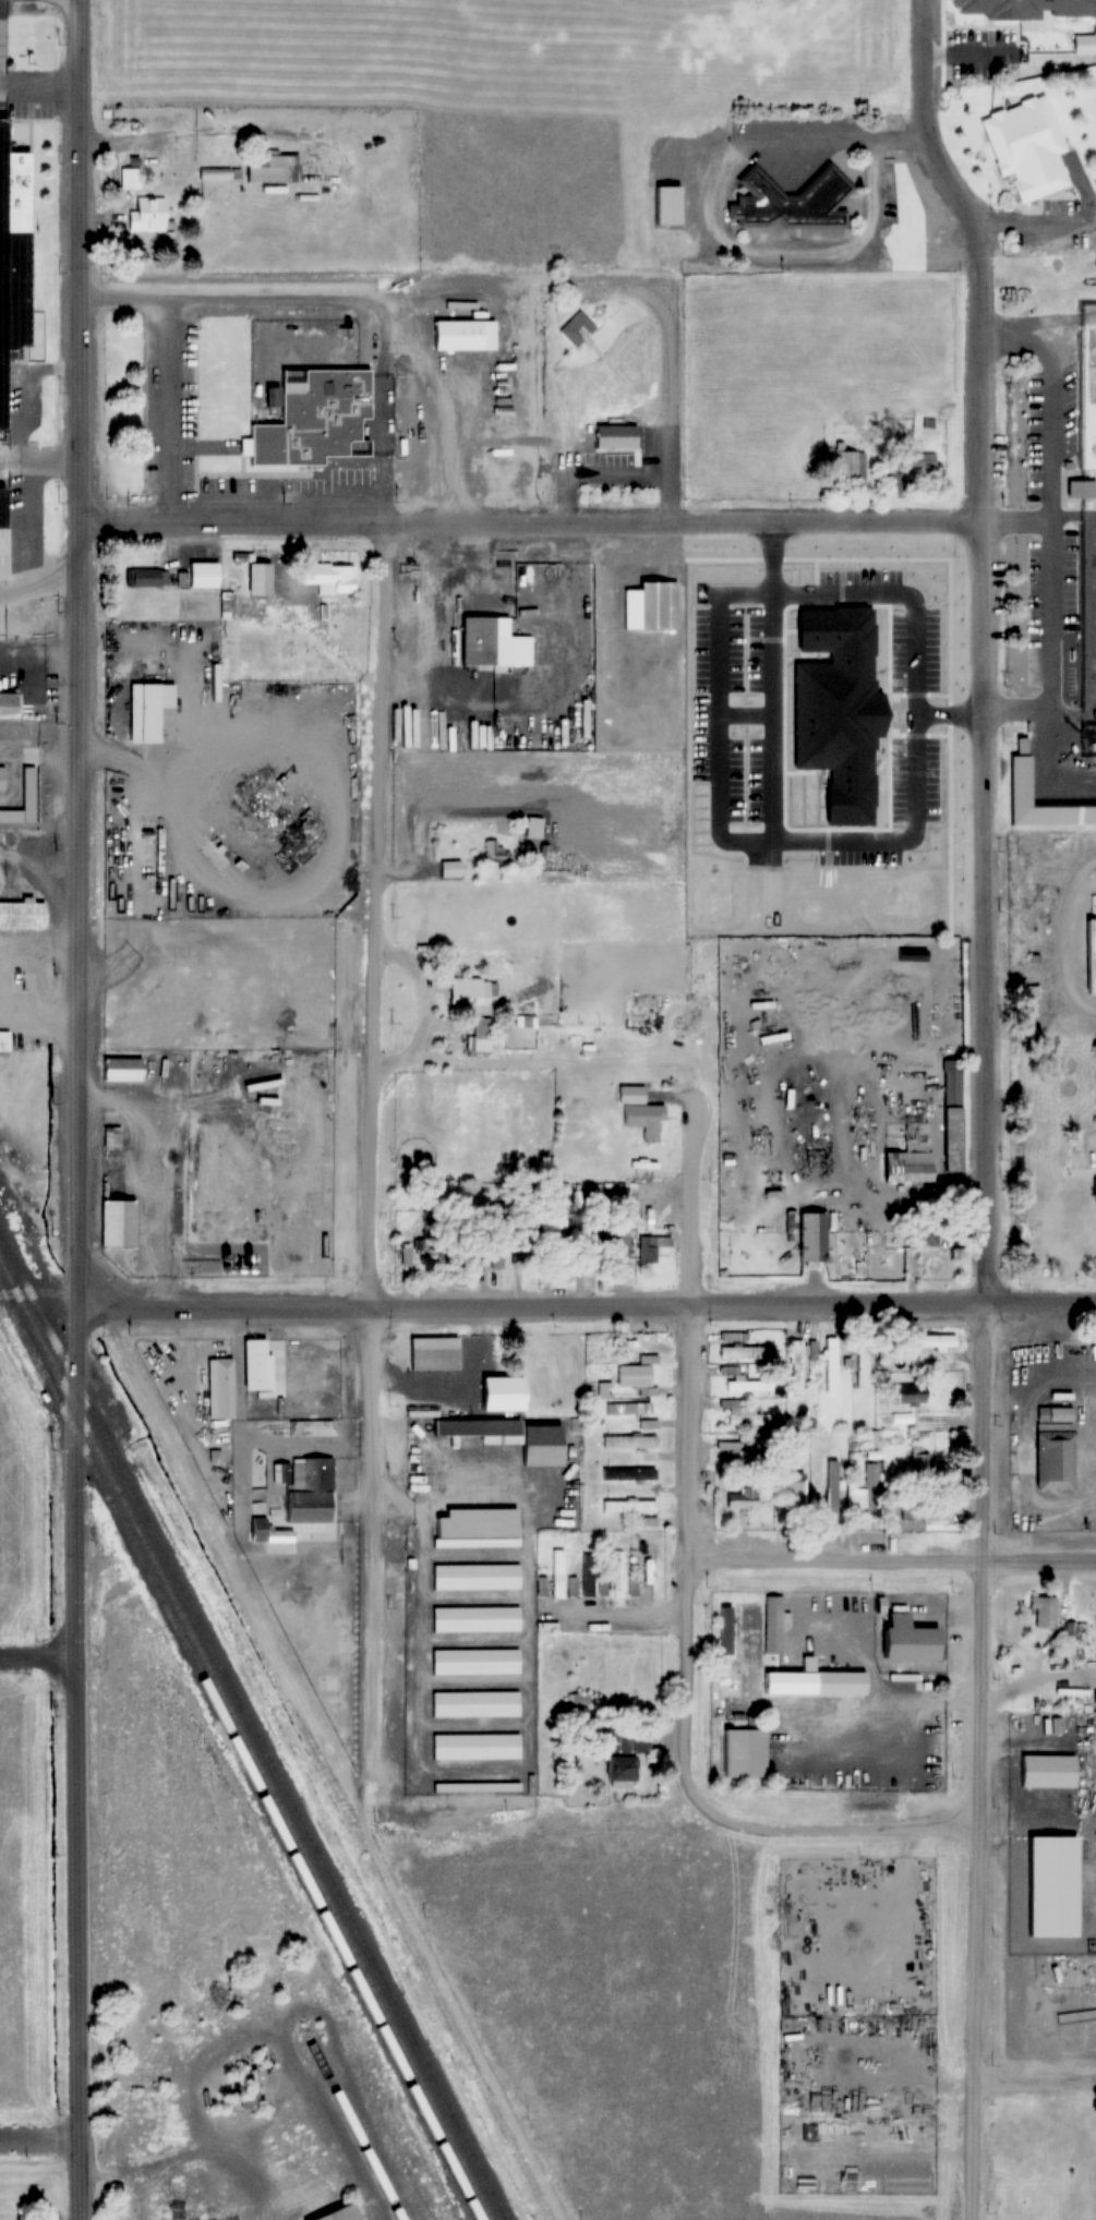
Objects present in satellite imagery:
building: (1084, 45)
building: (125, 114)
road: (929, 133)
building: (1025, 150)
building: (268, 169)
building: (131, 172)
building: (276, 198)
building: (793, 203)
building: (671, 204)
building: (148, 217)
building: (17, 260)
building: (576, 330)
building: (465, 335)
building: (318, 415)
road: (1048, 439)
building: (924, 461)
building: (855, 464)
building: (899, 481)
building: (1081, 490)
road: (528, 522)
building: (2, 529)
building: (201, 574)
building: (138, 576)
building: (260, 577)
building: (329, 577)
building: (652, 606)
building: (493, 642)
road: (1050, 654)
building: (9, 704)
building: (148, 713)
building: (2, 777)
building: (1016, 781)
building: (31, 792)
building: (10, 815)
building: (494, 853)
building: (450, 869)
building: (23, 915)
building: (1089, 957)
building: (471, 992)
building: (481, 1034)
building: (4, 1040)
building: (123, 1069)
road: (365, 1108)
road: (77, 1110)
building: (640, 1112)
building: (954, 1115)
building: (913, 1154)
building: (655, 1210)
building: (119, 1224)
building: (431, 1232)
building: (462, 1235)
building: (815, 1238)
building: (928, 1238)
road: (985, 1239)
building: (593, 1244)
building: (651, 1248)
building: (521, 1251)
building: (494, 1255)
building: (567, 1259)
road: (547, 1298)
building: (624, 1343)
building: (831, 1346)
building: (815, 1349)
building: (745, 1351)
building: (433, 1352)
building: (486, 1355)
building: (1053, 1361)
building: (796, 1364)
building: (862, 1364)
building: (256, 1365)
building: (638, 1373)
building: (743, 1382)
building: (220, 1386)
building: (505, 1393)
building: (912, 1393)
building: (628, 1409)
building: (744, 1414)
building: (648, 1426)
building: (475, 1427)
building: (870, 1437)
building: (629, 1441)
building: (1057, 1456)
building: (643, 1457)
building: (742, 1458)
road: (684, 1462)
building: (835, 1468)
building: (919, 1468)
building: (629, 1474)
building: (306, 1487)
building: (794, 1491)
building: (870, 1491)
building: (743, 1498)
building: (629, 1505)
building: (647, 1521)
building: (265, 1528)
building: (478, 1541)
road: (442, 1552)
road: (889, 1559)
building: (612, 1572)
building: (647, 1573)
building: (474, 1576)
building: (553, 1576)
building: (583, 1577)
building: (1045, 1612)
road: (613, 1614)
building: (478, 1618)
building: (775, 1621)
building: (726, 1630)
building: (914, 1639)
road: (36, 1657)
building: (474, 1660)
building: (815, 1679)
building: (477, 1703)
railway: (252, 1728)
building: (629, 1740)
railway: (245, 1741)
building: (477, 1745)
building: (744, 1751)
railway: (239, 1753)
crop: (37, 1757)
building: (622, 1771)
road: (504, 1772)
building: (1049, 1772)
building: (478, 1790)
road: (840, 1826)
building: (834, 1929)
building: (1040, 2023)
road: (1034, 2074)
building: (245, 2091)
railway: (352, 2127)
building: (346, 2213)

